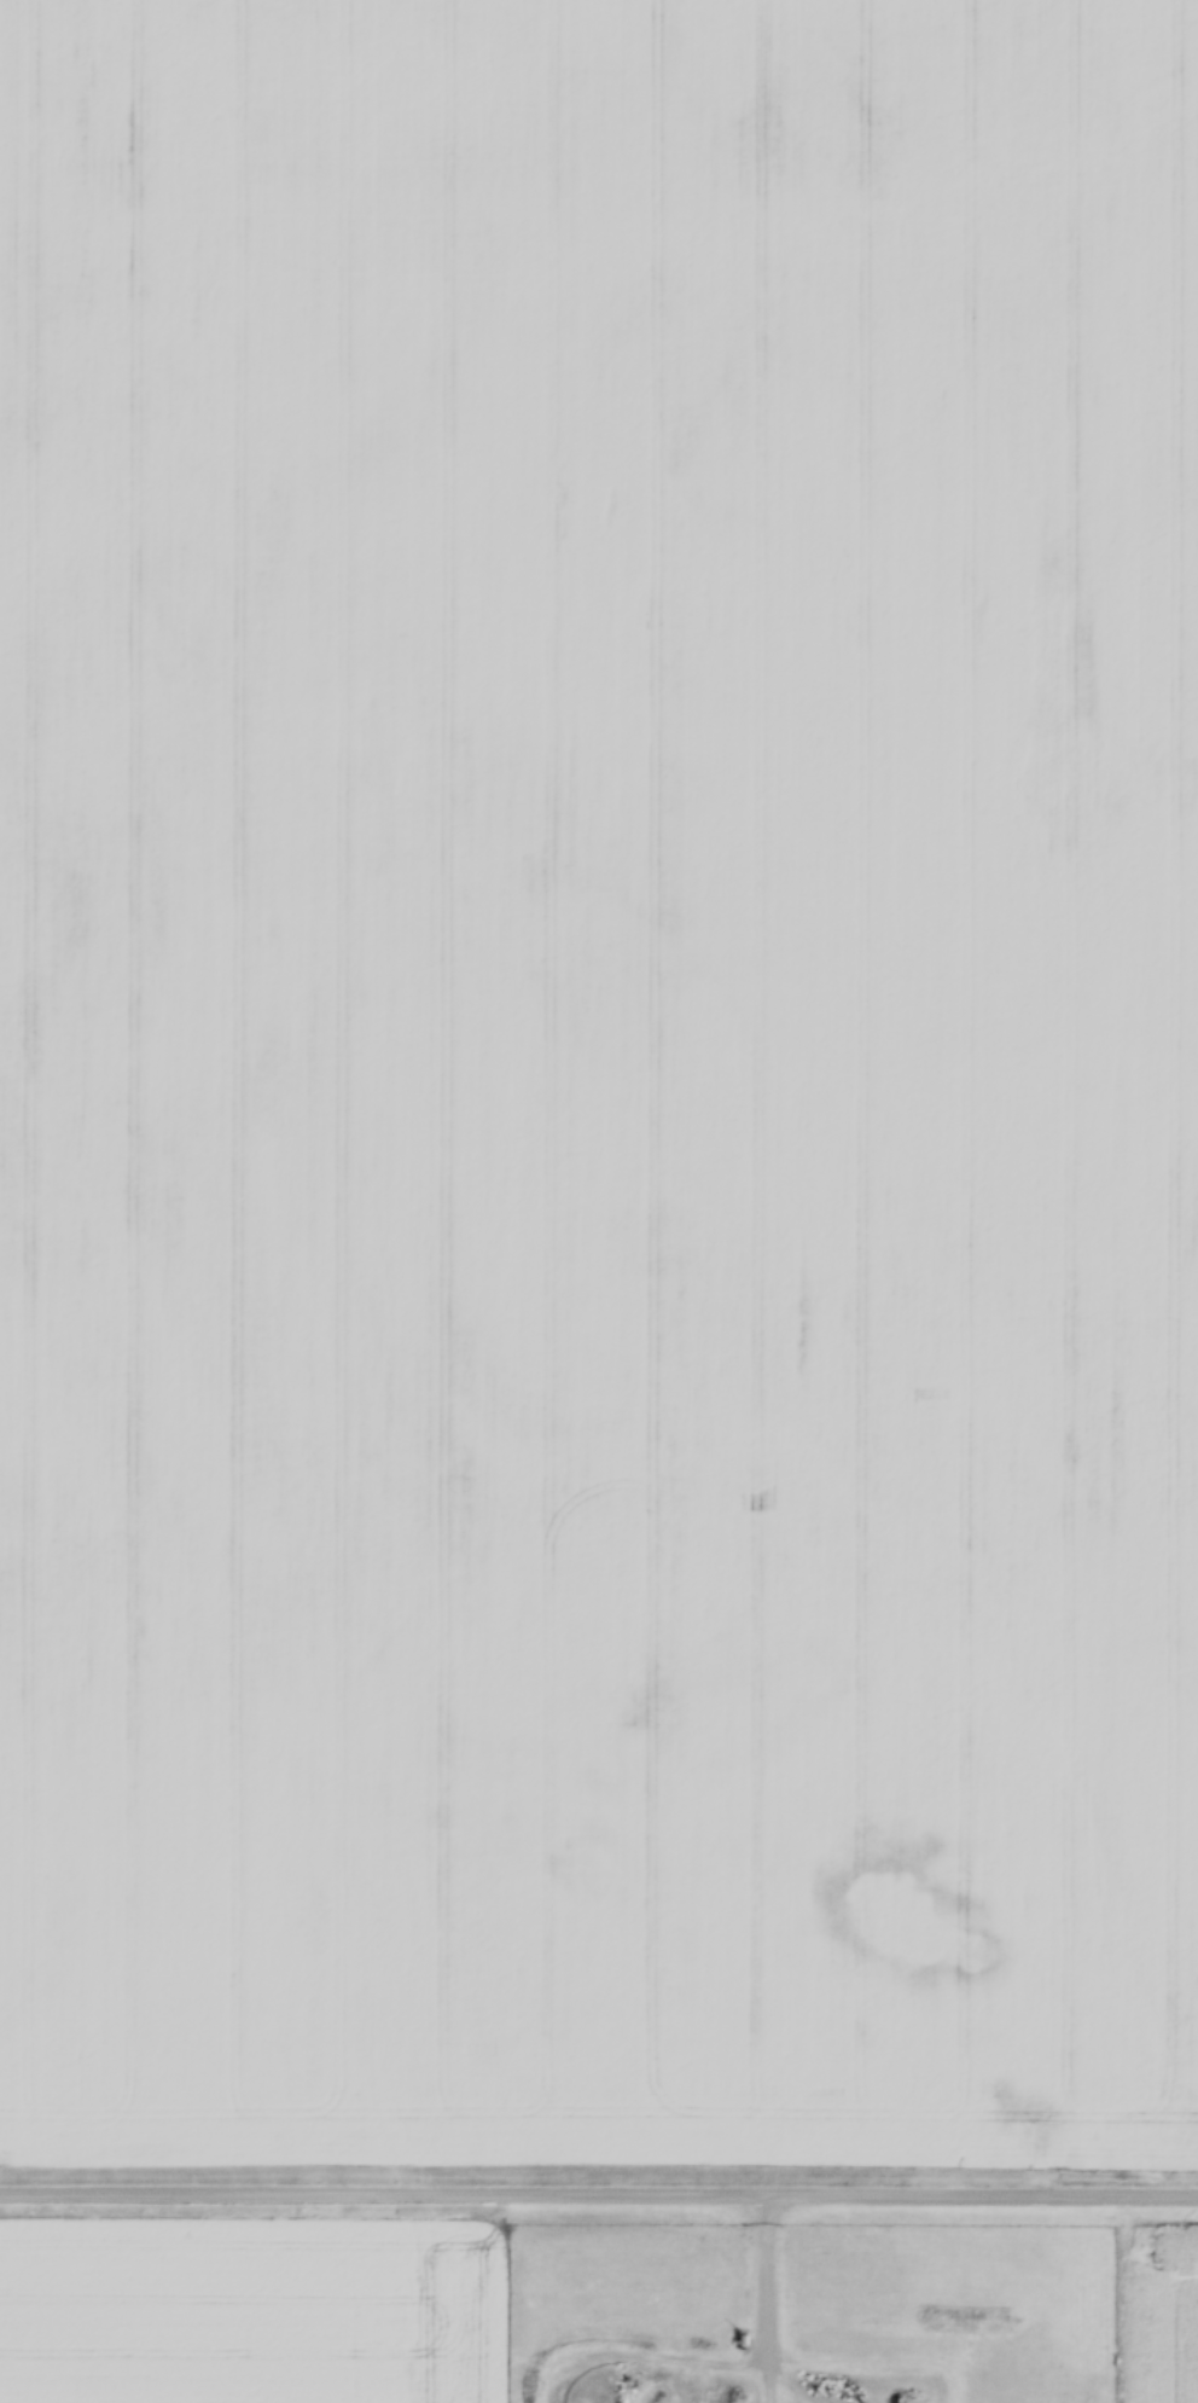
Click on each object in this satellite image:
road: (599, 2189)
road: (770, 2295)

